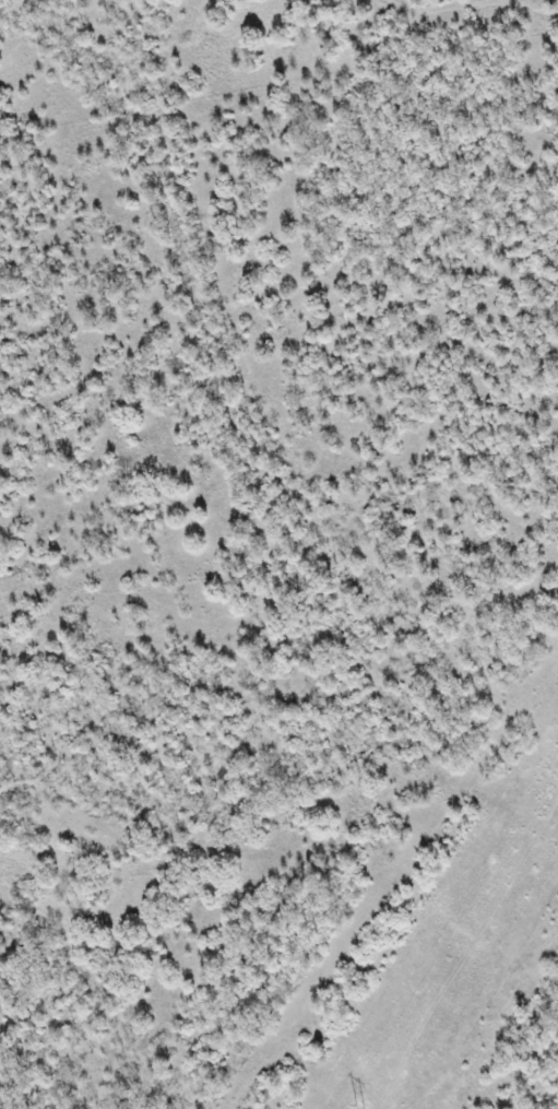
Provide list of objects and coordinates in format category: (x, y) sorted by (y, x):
power tower: (557, 729)

